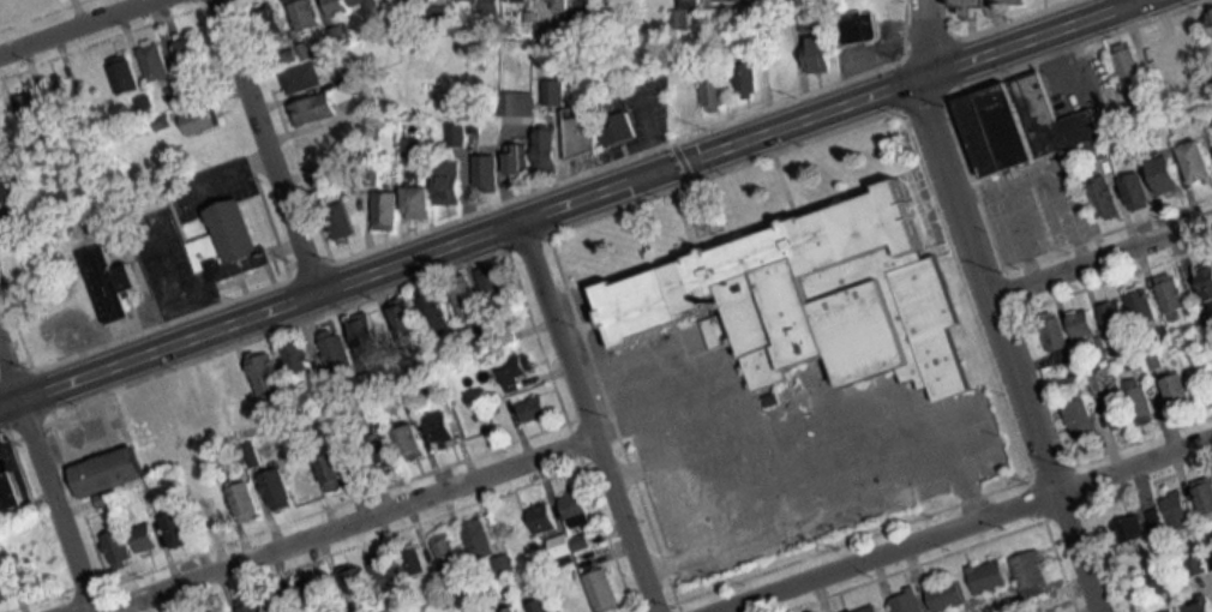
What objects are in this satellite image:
building: (588, 0)
building: (734, 0)
building: (24, 1)
building: (418, 1)
building: (517, 1)
building: (692, 2)
building: (367, 4)
building: (624, 4)
road: (1139, 4)
building: (562, 5)
building: (991, 5)
building: (0, 6)
building: (486, 6)
building: (337, 7)
building: (1211, 11)
building: (304, 14)
building: (439, 16)
building: (815, 22)
building: (271, 23)
building: (862, 26)
road: (86, 32)
building: (550, 37)
building: (1195, 43)
building: (191, 52)
building: (1159, 52)
building: (822, 54)
building: (156, 62)
building: (1128, 62)
building: (126, 78)
building: (304, 79)
building: (749, 80)
building: (715, 92)
building: (556, 94)
building: (62, 96)
building: (520, 104)
building: (31, 107)
building: (316, 110)
building: (6, 115)
building: (200, 121)
building: (1022, 125)
building: (622, 131)
building: (582, 132)
building: (460, 136)
building: (324, 144)
road: (281, 149)
building: (550, 149)
building: (1099, 150)
building: (521, 160)
building: (1199, 163)
building: (488, 173)
building: (1170, 176)
building: (8, 191)
building: (450, 191)
building: (1138, 192)
building: (1105, 200)
road: (578, 203)
building: (421, 204)
building: (389, 211)
building: (14, 216)
building: (342, 221)
building: (228, 244)
road: (1104, 258)
building: (112, 283)
building: (1206, 284)
building: (496, 286)
building: (1172, 295)
building: (468, 298)
building: (814, 299)
building: (1144, 307)
road: (1001, 308)
building: (434, 310)
building: (1116, 316)
building: (407, 317)
building: (1084, 325)
building: (1210, 330)
building: (1057, 331)
building: (368, 334)
building: (336, 349)
building: (299, 356)
building: (518, 370)
building: (268, 373)
road: (703, 373)
building: (234, 383)
road: (875, 392)
building: (1180, 392)
building: (1140, 401)
building: (536, 407)
building: (1117, 408)
road: (590, 418)
road: (720, 418)
building: (1082, 418)
building: (444, 430)
building: (173, 442)
building: (414, 442)
building: (385, 451)
road: (53, 460)
building: (222, 460)
building: (116, 466)
building: (335, 472)
building: (307, 484)
building: (277, 490)
road: (715, 494)
building: (8, 497)
building: (246, 502)
building: (577, 506)
road: (842, 506)
building: (1180, 511)
building: (545, 517)
road: (352, 523)
road: (968, 524)
building: (1133, 528)
building: (178, 529)
building: (0, 539)
building: (148, 539)
building: (481, 539)
building: (120, 547)
building: (449, 552)
building: (415, 560)
building: (1199, 565)
building: (1033, 574)
building: (386, 575)
building: (990, 576)
building: (359, 580)
building: (1160, 582)
building: (6, 584)
building: (605, 589)
building: (493, 592)
building: (948, 594)
building: (311, 595)
building: (572, 598)
building: (280, 602)
building: (907, 602)
building: (1201, 604)
building: (541, 605)
building: (248, 606)
building: (870, 608)
building: (515, 610)

